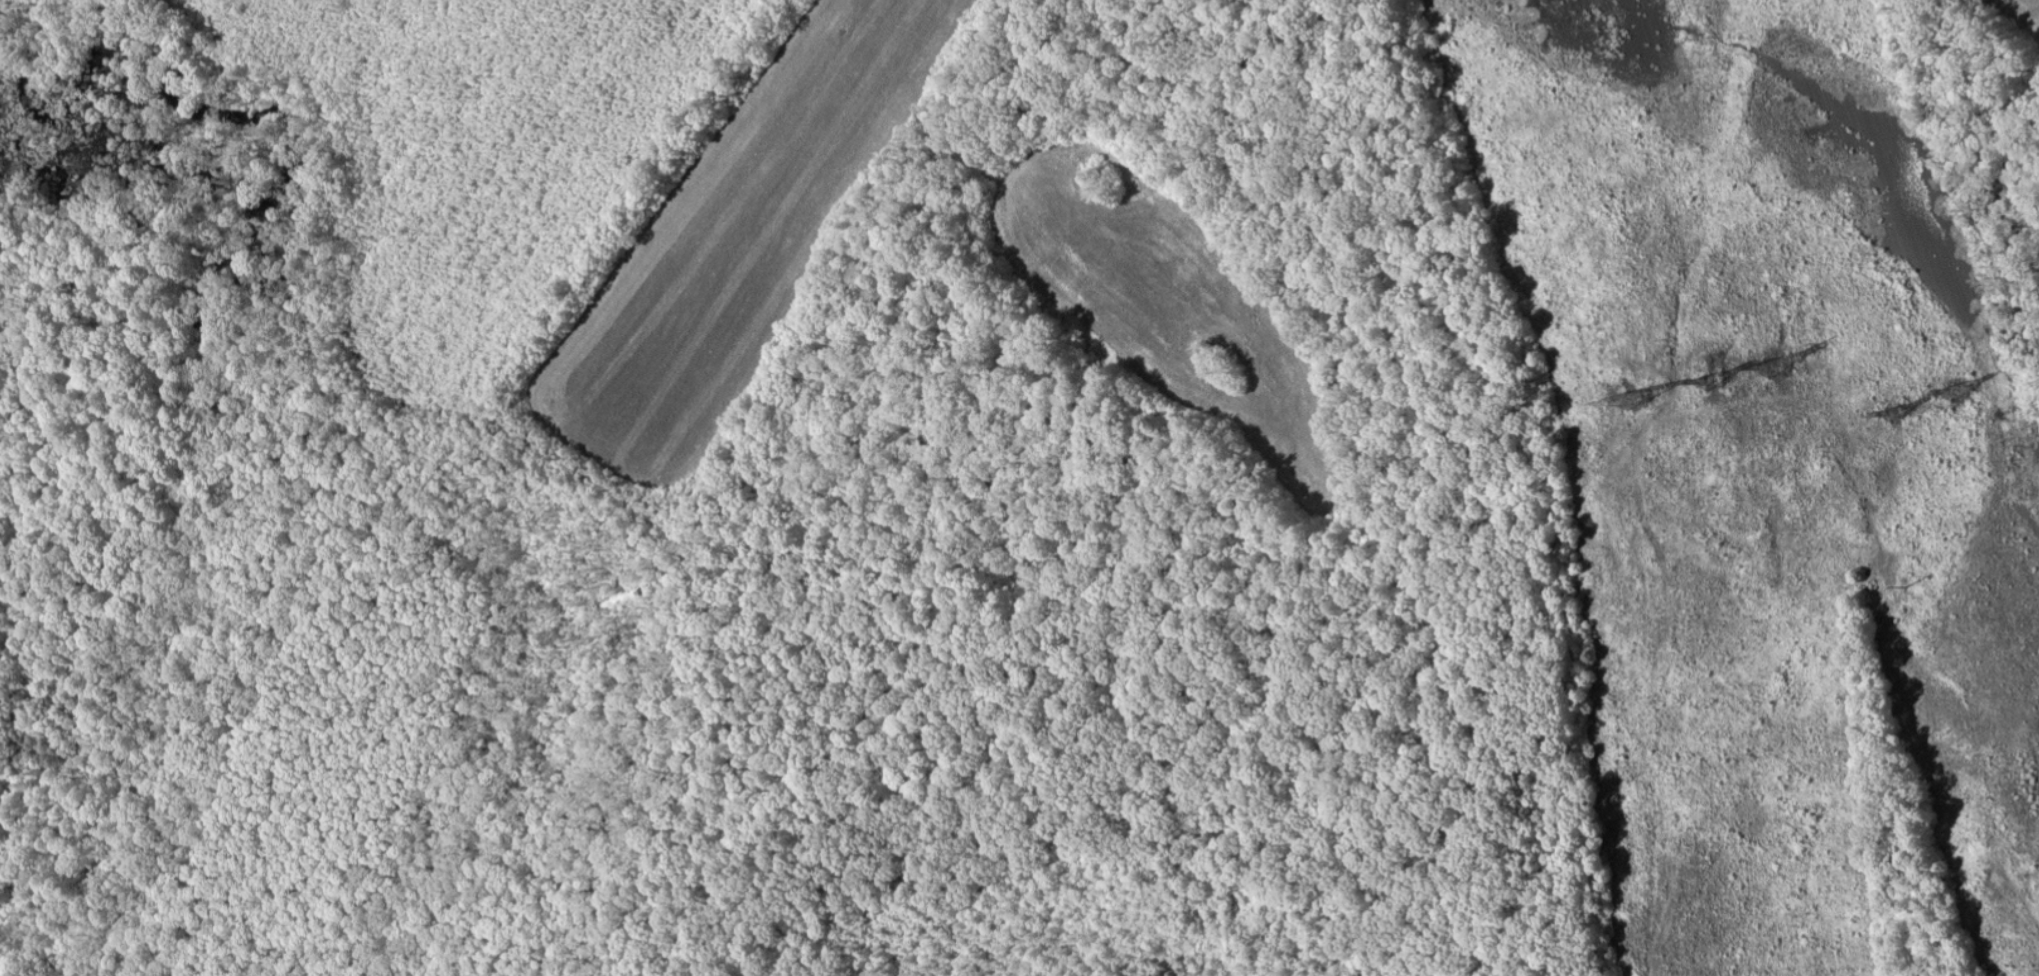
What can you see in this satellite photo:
power tower: (1711, 379)
power tower: (1952, 393)
power tower: (1631, 400)
power tower: (1895, 416)

